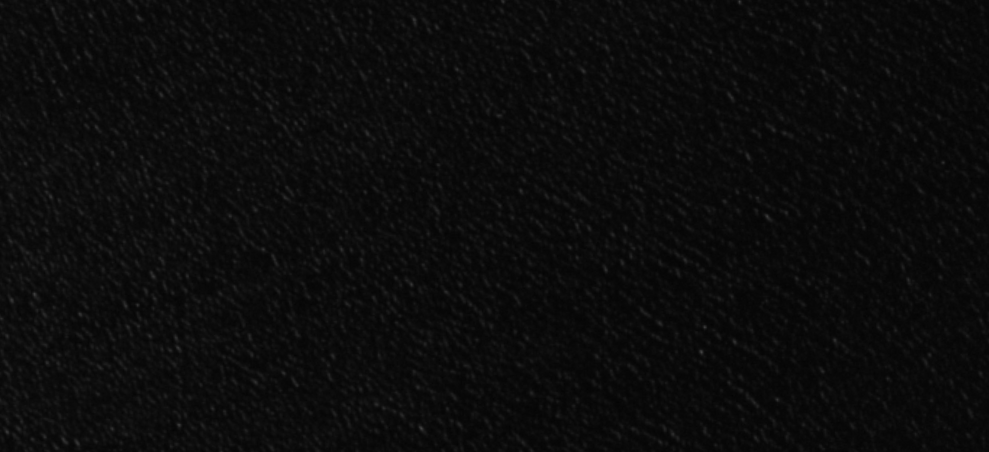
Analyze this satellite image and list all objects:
river: (134, 210)

